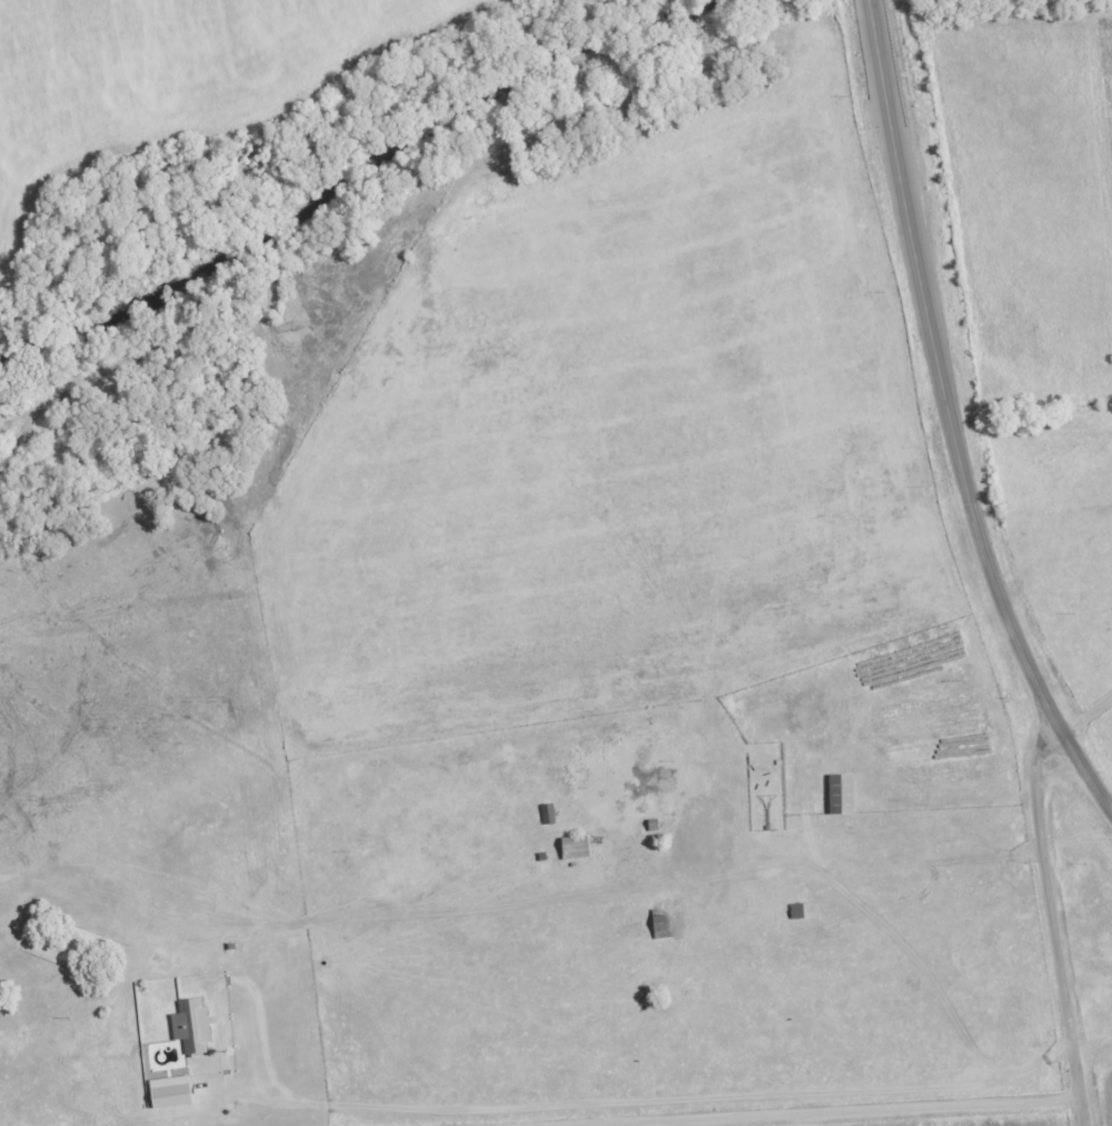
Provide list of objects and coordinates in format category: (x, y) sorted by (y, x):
road: (952, 417)
building: (836, 794)
building: (544, 814)
building: (681, 841)
building: (570, 847)
road: (562, 893)
building: (793, 911)
building: (656, 923)
road: (1054, 926)
building: (187, 1026)
road: (758, 1105)

